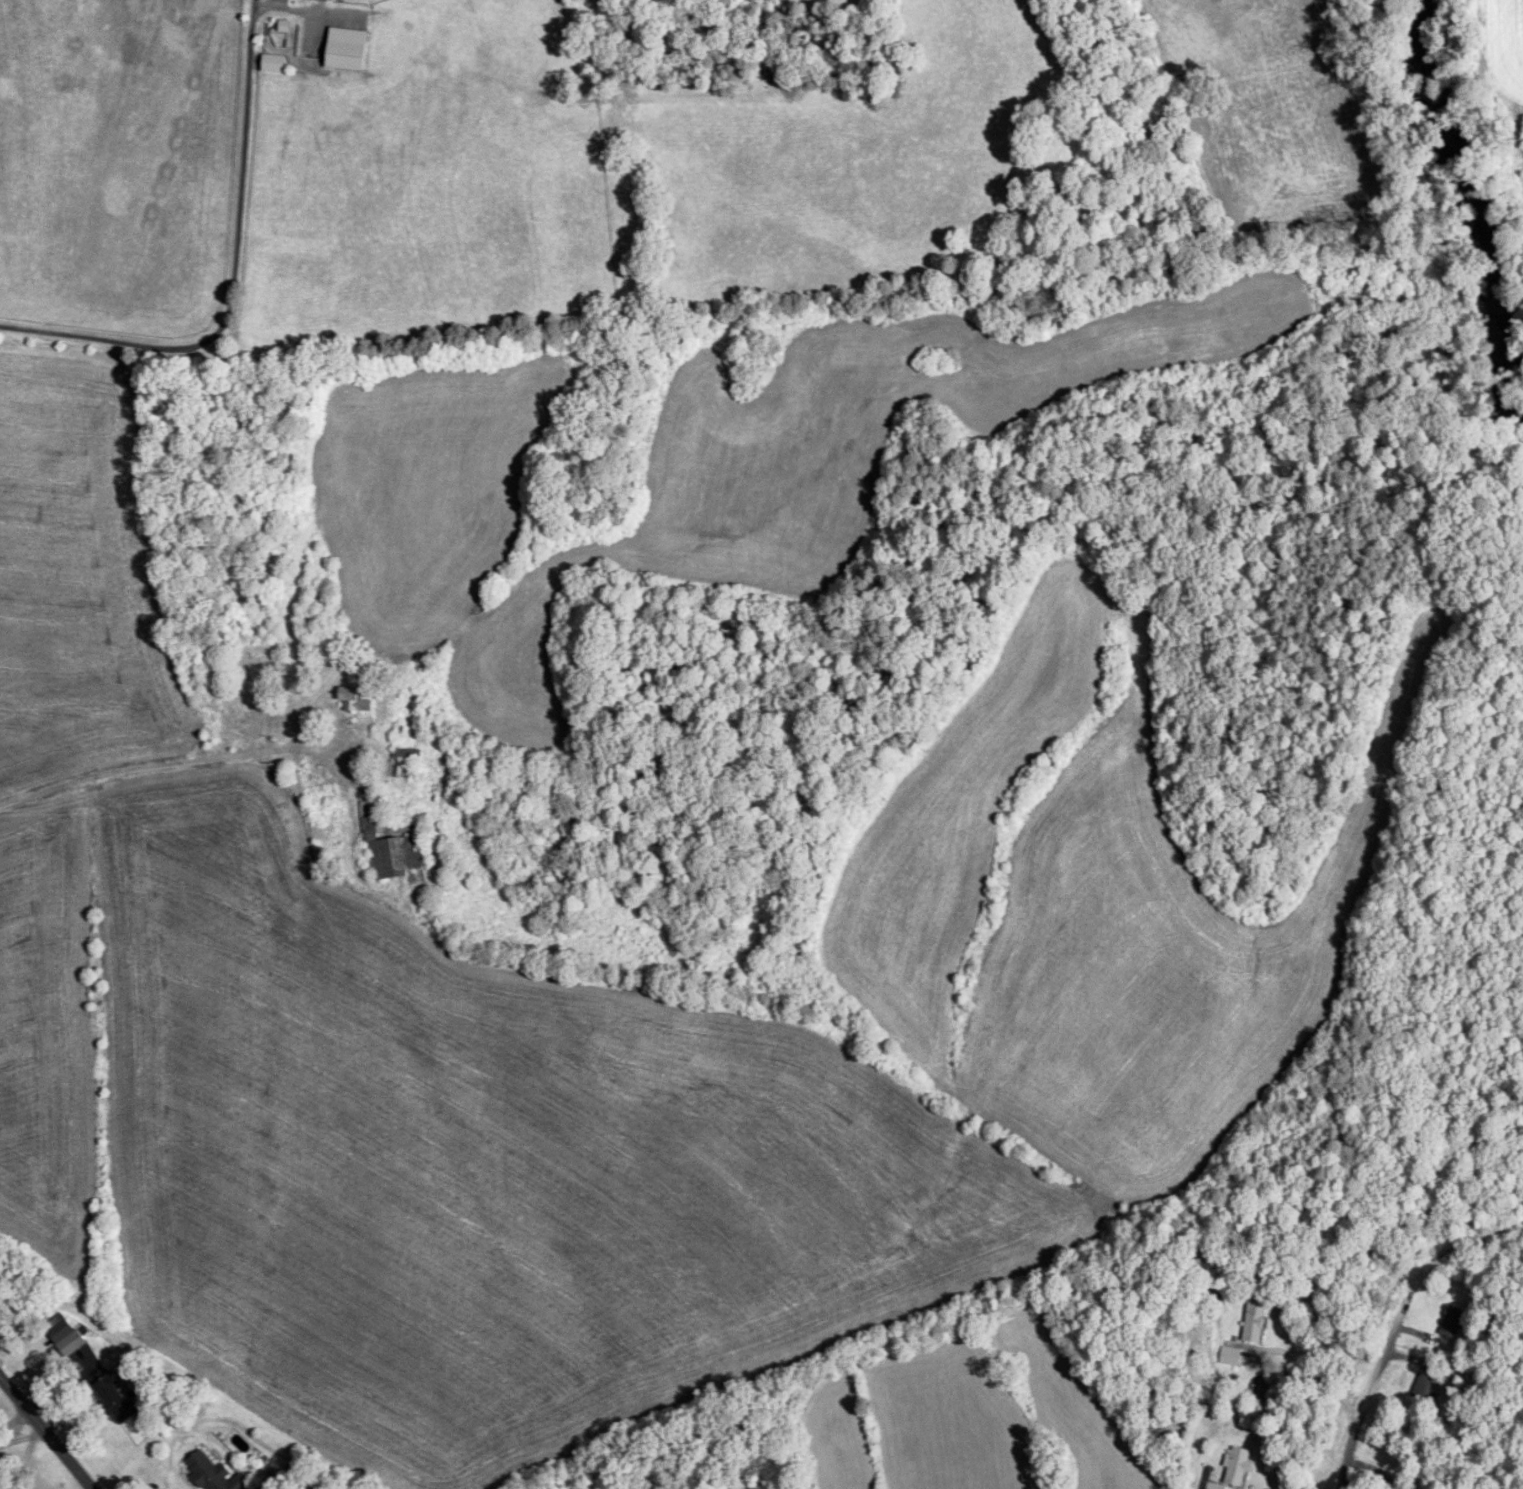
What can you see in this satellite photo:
building: (326, 0)
building: (305, 38)
building: (762, 85)
river: (1446, 223)
road: (232, 279)
building: (352, 701)
road: (190, 763)
building: (387, 846)
road: (1392, 1317)
building: (1254, 1322)
building: (1451, 1322)
building: (71, 1343)
building: (1229, 1356)
road: (1311, 1374)
building: (1425, 1387)
building: (1262, 1388)
building: (113, 1398)
road: (43, 1436)
road: (21, 1440)
building: (1235, 1469)
building: (213, 1474)

